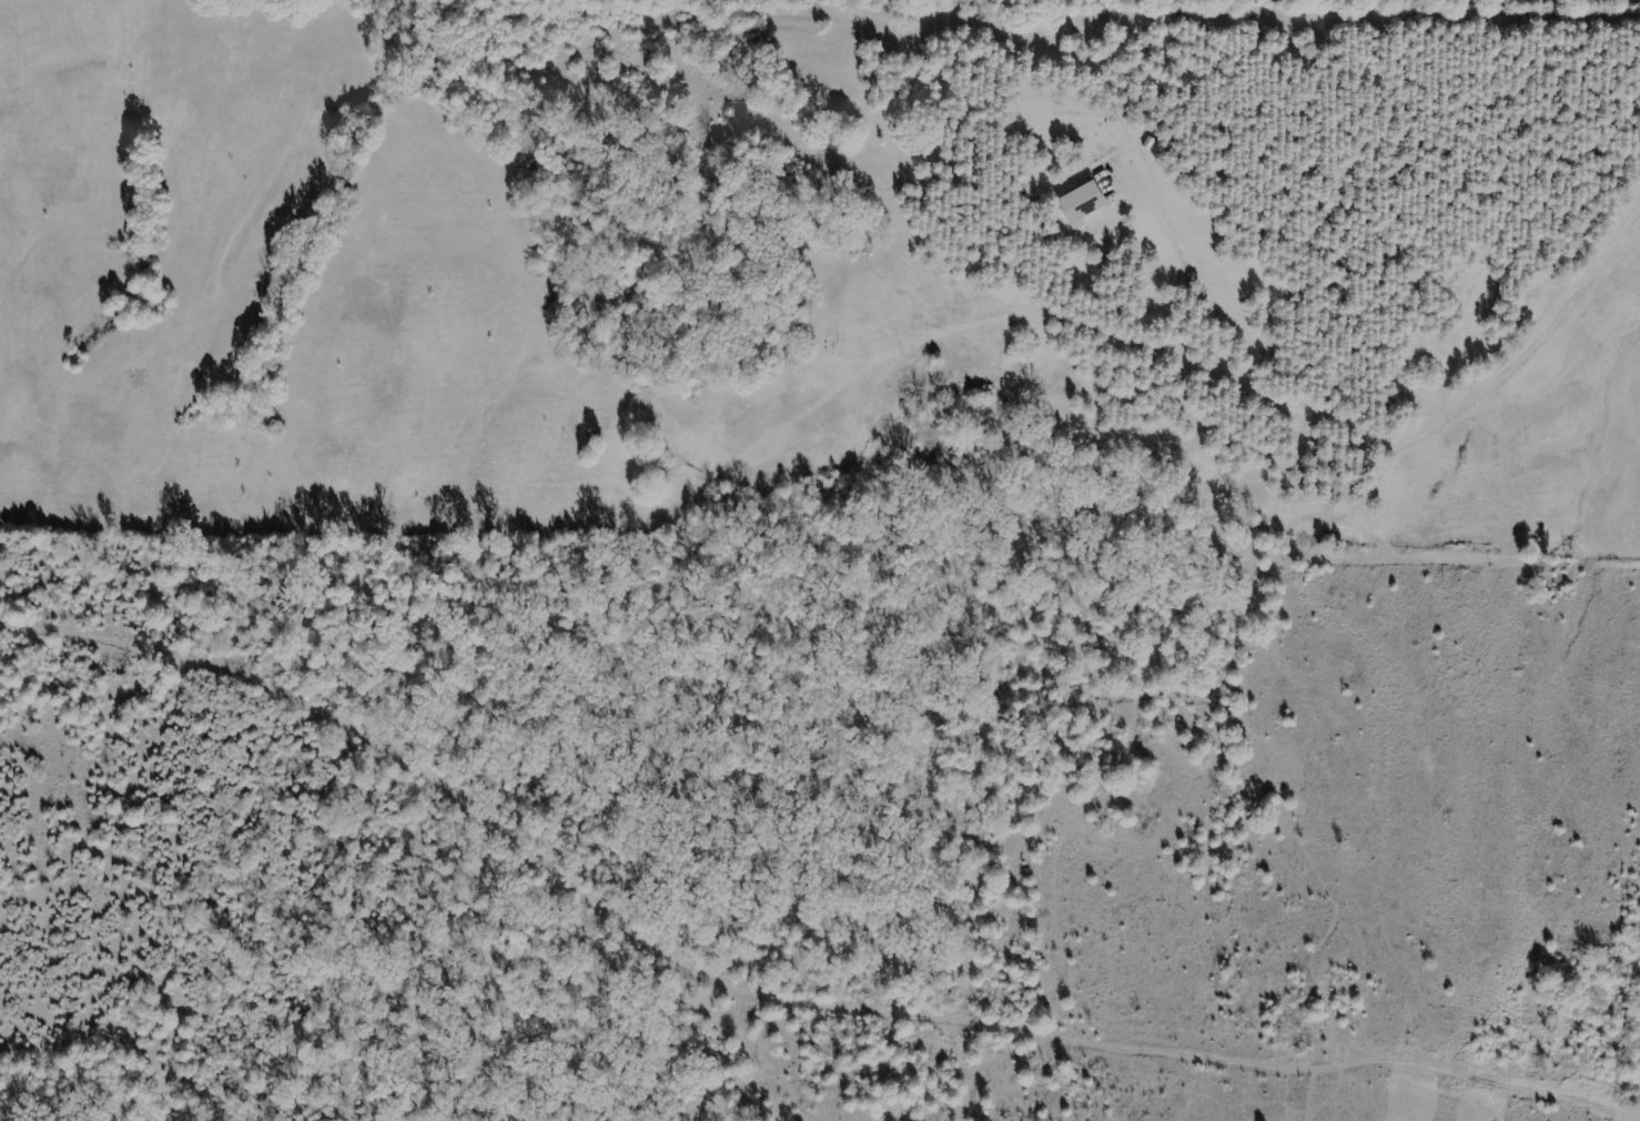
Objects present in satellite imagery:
building: (1086, 200)
road: (869, 355)

